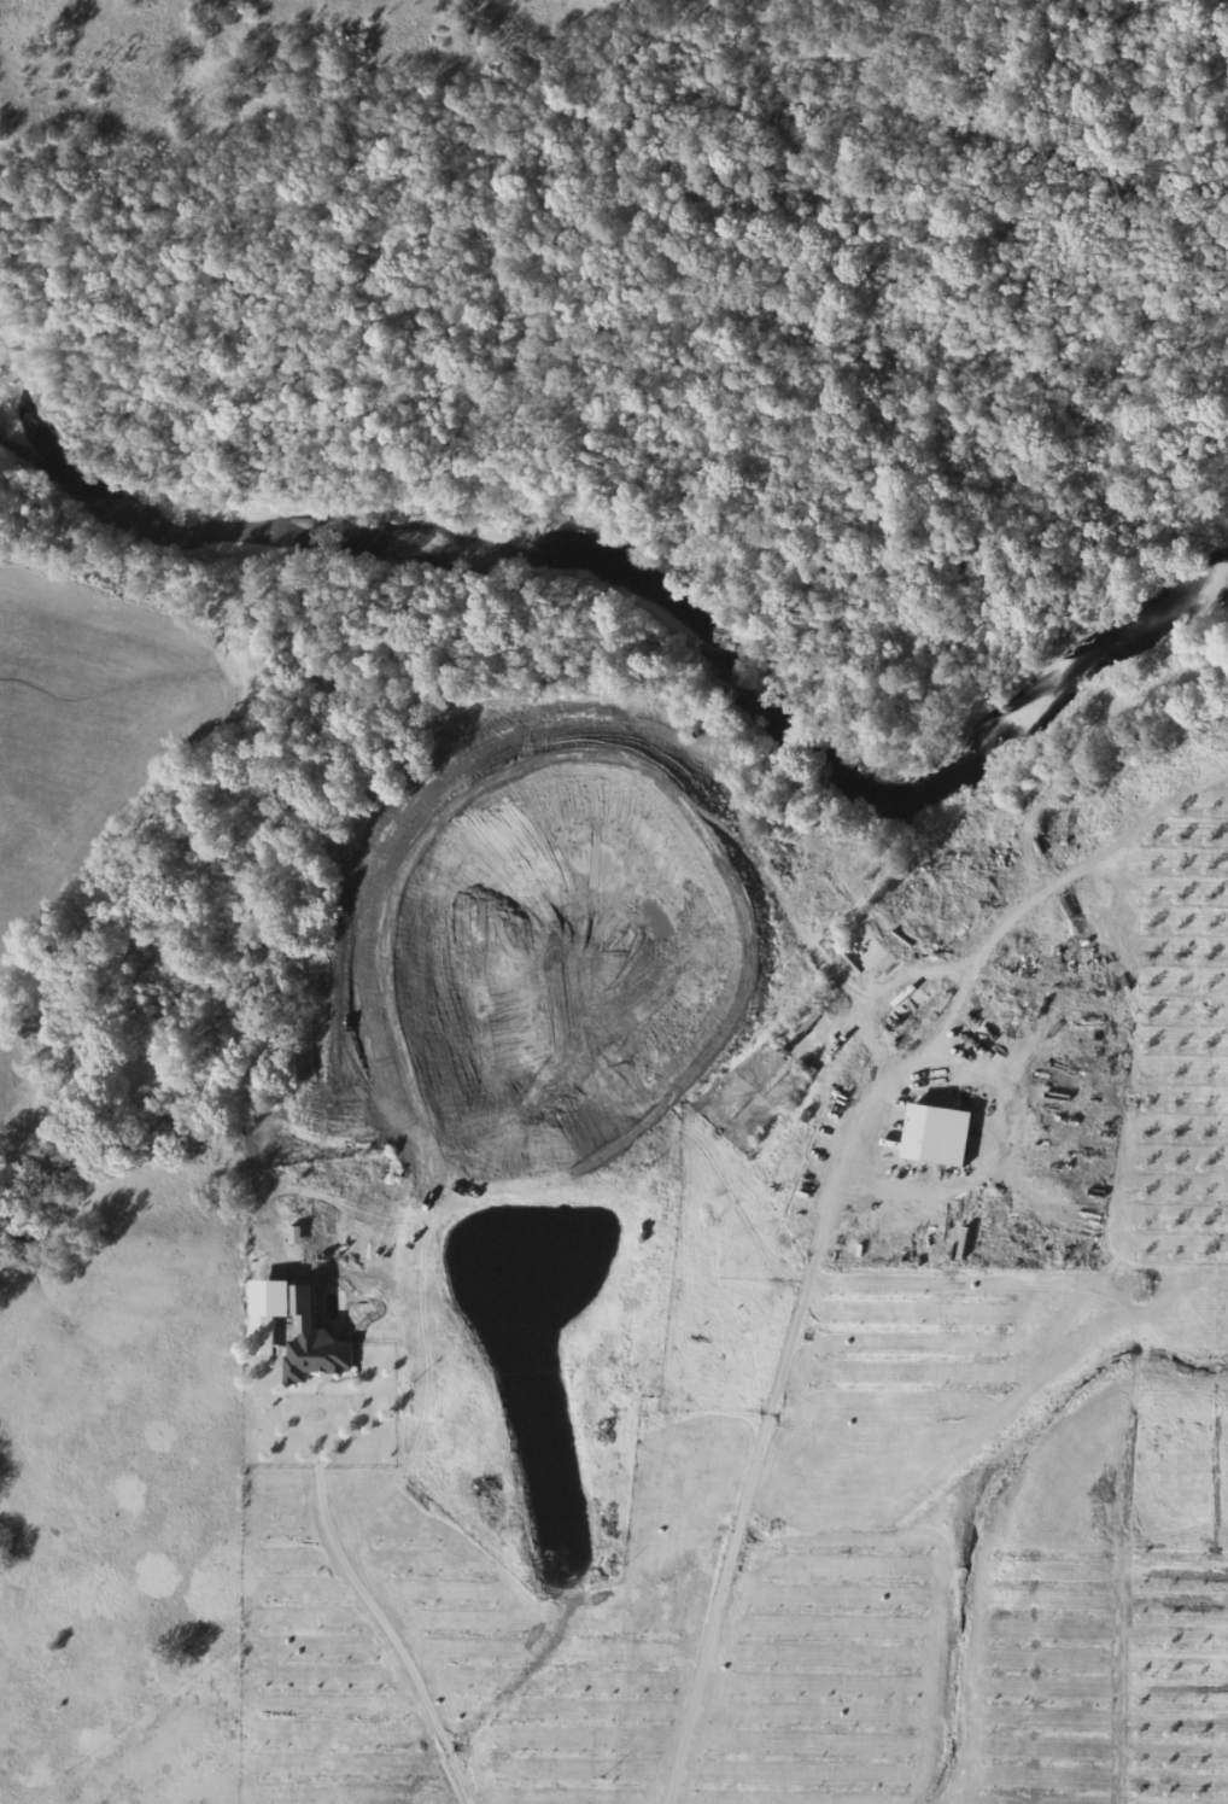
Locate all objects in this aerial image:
river: (666, 592)
building: (938, 1135)
building: (317, 1358)
road: (748, 1483)
road: (378, 1622)

